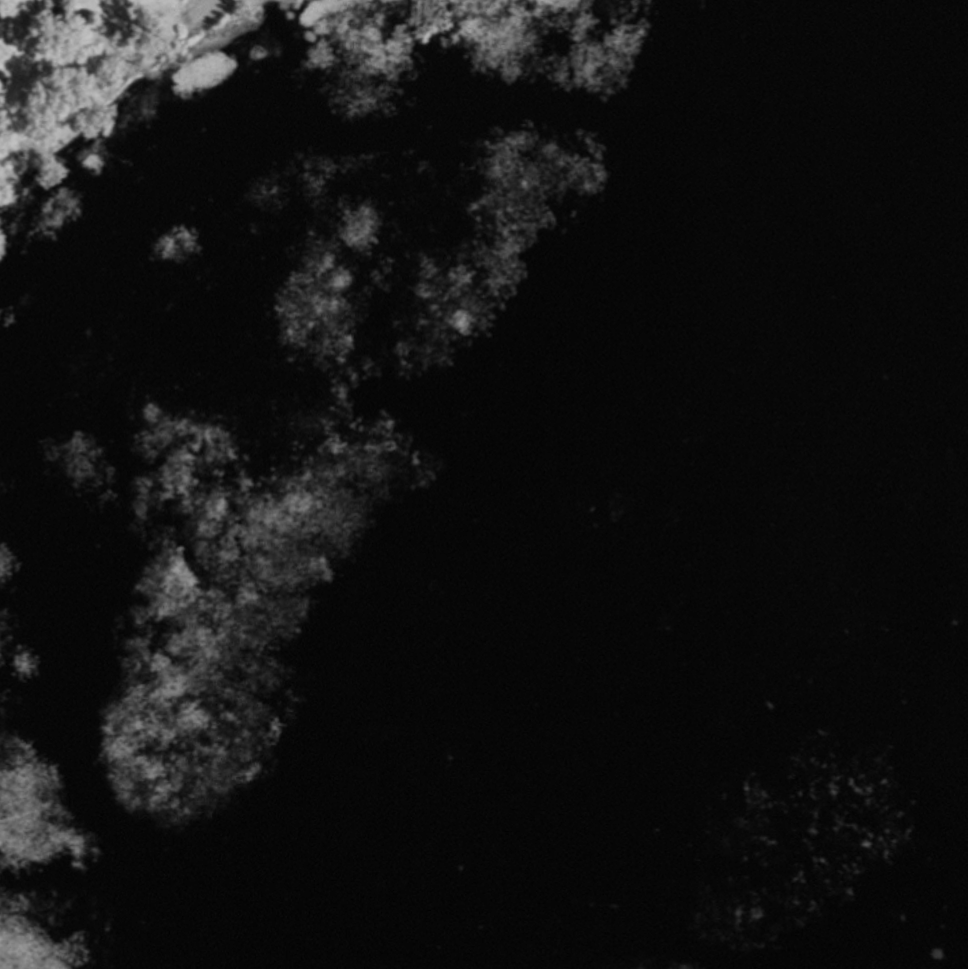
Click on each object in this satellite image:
building: (58, 16)
building: (1, 29)

